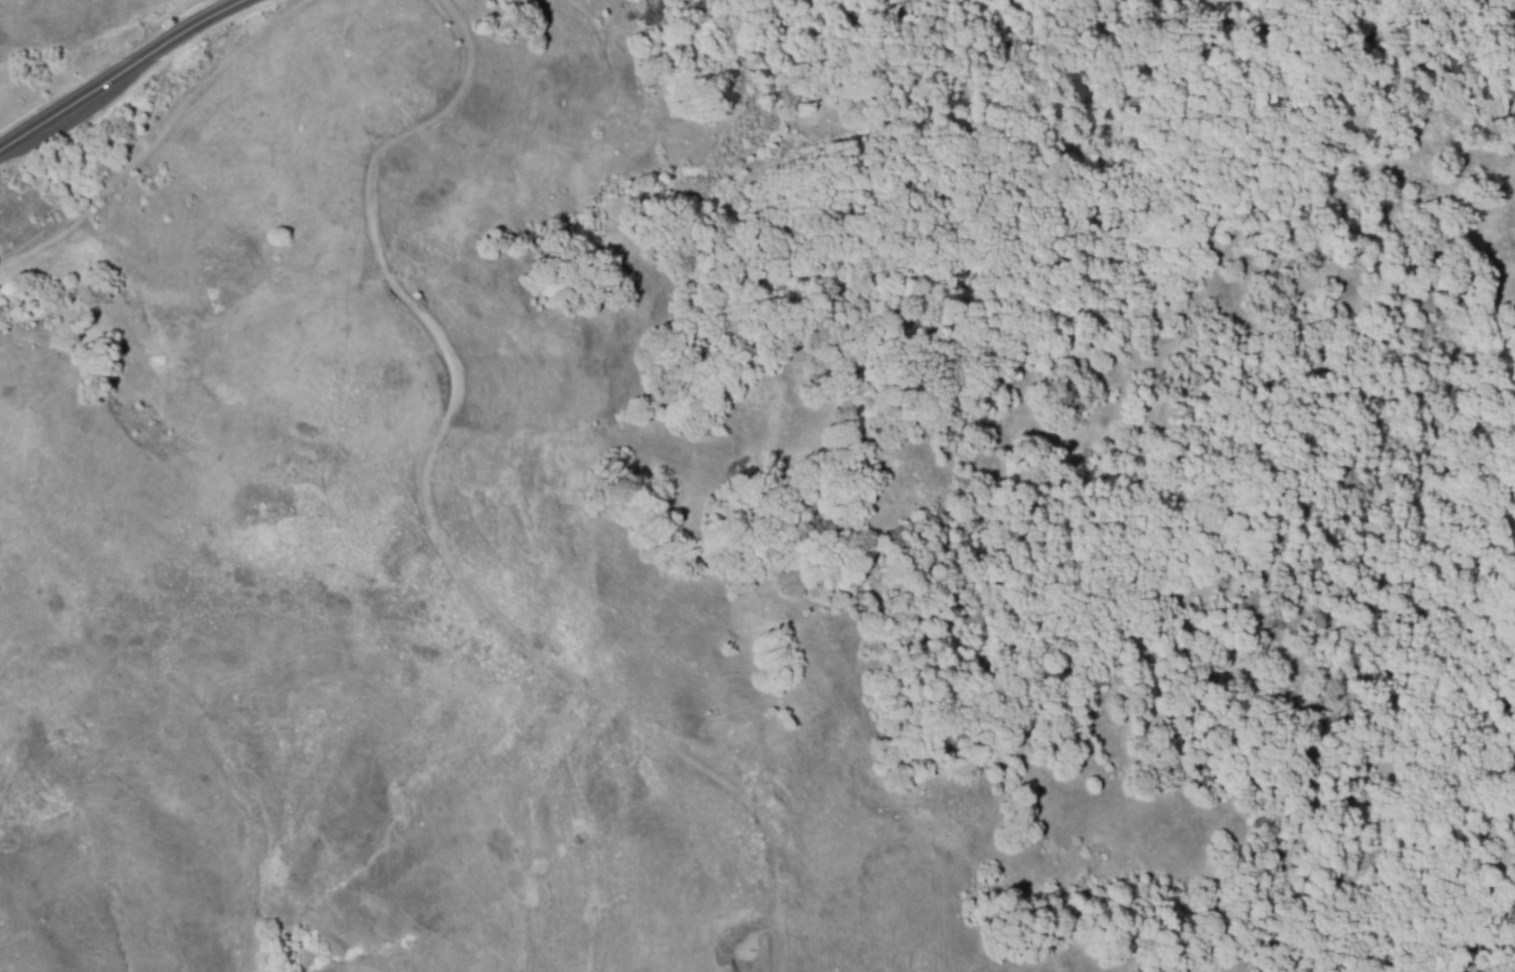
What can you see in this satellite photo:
road: (119, 70)

